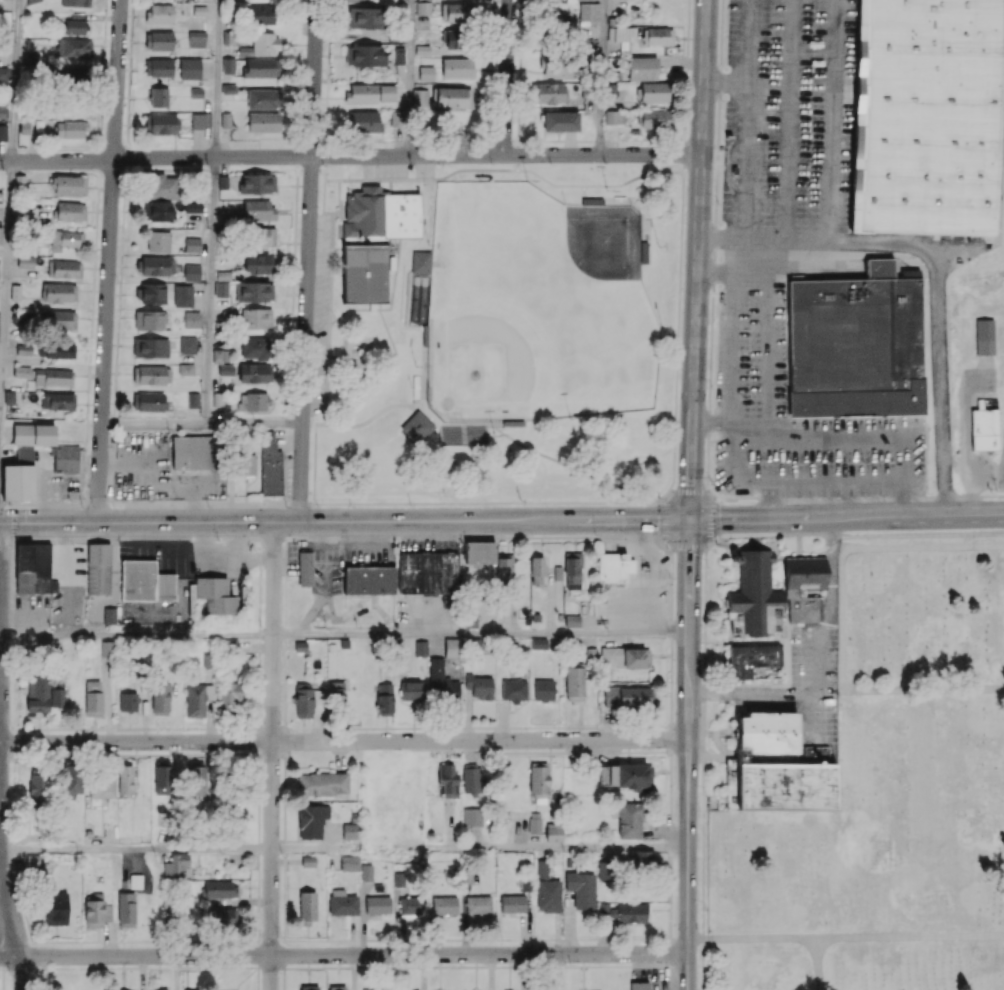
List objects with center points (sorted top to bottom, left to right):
building: (571, 0)
building: (34, 1)
building: (75, 3)
building: (423, 7)
building: (456, 12)
building: (159, 13)
building: (588, 13)
building: (261, 14)
building: (365, 17)
building: (75, 23)
building: (658, 36)
building: (196, 38)
building: (454, 39)
building: (158, 40)
road: (744, 41)
building: (261, 45)
building: (74, 47)
building: (364, 55)
building: (228, 65)
building: (556, 66)
building: (158, 67)
building: (261, 67)
building: (189, 68)
building: (457, 68)
building: (642, 68)
building: (5, 73)
building: (426, 73)
building: (72, 75)
road: (603, 77)
road: (218, 78)
road: (411, 78)
road: (506, 78)
road: (15, 80)
building: (228, 88)
building: (654, 91)
building: (387, 92)
building: (550, 92)
building: (361, 93)
building: (158, 97)
building: (419, 97)
building: (451, 97)
building: (263, 98)
building: (3, 112)
building: (924, 116)
building: (614, 117)
building: (654, 119)
building: (200, 120)
building: (365, 121)
building: (560, 121)
building: (263, 122)
building: (160, 124)
building: (70, 129)
building: (3, 132)
road: (350, 156)
building: (257, 183)
building: (69, 185)
building: (162, 186)
building: (192, 206)
building: (257, 209)
building: (70, 211)
building: (156, 211)
building: (0, 234)
building: (264, 237)
building: (65, 239)
building: (375, 240)
building: (158, 241)
building: (192, 244)
road: (787, 245)
road: (895, 247)
road: (719, 252)
road: (739, 253)
road: (108, 261)
road: (308, 261)
building: (25, 262)
building: (420, 262)
building: (259, 263)
building: (155, 265)
building: (63, 268)
building: (191, 272)
road: (6, 284)
building: (221, 284)
road: (211, 290)
building: (254, 291)
building: (58, 292)
building: (151, 293)
building: (183, 296)
park: (542, 304)
parking lot: (317, 315)
building: (256, 318)
building: (58, 319)
building: (191, 319)
building: (149, 320)
park: (493, 330)
building: (984, 336)
building: (187, 344)
building: (856, 344)
building: (150, 347)
building: (255, 347)
building: (24, 349)
building: (56, 350)
building: (223, 361)
building: (186, 369)
building: (21, 371)
building: (255, 373)
building: (151, 374)
building: (52, 377)
building: (57, 400)
building: (192, 400)
building: (148, 401)
building: (252, 401)
road: (154, 423)
road: (255, 423)
road: (769, 424)
building: (984, 425)
building: (416, 427)
building: (33, 434)
building: (465, 437)
road: (734, 446)
building: (194, 451)
building: (65, 458)
building: (245, 464)
building: (270, 464)
road: (835, 475)
building: (18, 476)
road: (0, 479)
road: (691, 494)
traffic signals: (691, 519)
road: (502, 520)
traffic signals: (0, 524)
road: (272, 537)
road: (471, 537)
road: (135, 538)
road: (7, 539)
road: (662, 541)
road: (688, 546)
building: (479, 554)
building: (614, 567)
building: (305, 568)
building: (504, 568)
building: (35, 569)
building: (98, 569)
building: (572, 570)
building: (537, 571)
building: (427, 572)
road: (0, 579)
building: (368, 580)
building: (145, 582)
building: (803, 587)
road: (11, 592)
building: (215, 595)
building: (754, 597)
road: (704, 604)
road: (824, 608)
building: (109, 616)
road: (843, 617)
road: (259, 620)
building: (572, 620)
road: (285, 631)
road: (481, 634)
road: (136, 635)
road: (671, 635)
building: (538, 643)
building: (460, 646)
building: (108, 648)
building: (420, 648)
building: (624, 657)
road: (9, 658)
building: (751, 659)
building: (208, 661)
road: (704, 674)
building: (441, 683)
building: (574, 683)
building: (479, 686)
building: (513, 690)
building: (543, 690)
building: (412, 691)
building: (38, 692)
building: (57, 692)
road: (747, 693)
building: (337, 694)
building: (627, 697)
building: (93, 698)
building: (160, 698)
building: (228, 698)
building: (384, 699)
building: (128, 701)
building: (308, 702)
road: (259, 710)
road: (805, 715)
road: (258, 721)
road: (271, 726)
road: (285, 726)
road: (531, 726)
road: (633, 726)
road: (664, 726)
road: (5, 727)
road: (253, 727)
road: (386, 727)
road: (437, 727)
road: (87, 728)
road: (173, 728)
road: (203, 728)
road: (238, 728)
road: (292, 728)
road: (324, 728)
road: (671, 737)
road: (286, 739)
road: (258, 740)
road: (344, 741)
road: (427, 748)
road: (458, 749)
road: (557, 751)
road: (625, 751)
road: (651, 751)
road: (493, 752)
road: (227, 753)
road: (251, 753)
road: (160, 754)
road: (270, 754)
road: (61, 755)
road: (271, 755)
road: (259, 764)
building: (779, 767)
road: (284, 771)
building: (625, 775)
building: (163, 778)
building: (196, 778)
building: (125, 779)
building: (448, 779)
building: (72, 780)
building: (472, 781)
building: (539, 782)
building: (322, 783)
building: (101, 785)
road: (259, 788)
building: (37, 789)
building: (228, 790)
road: (284, 795)
park: (885, 797)
road: (670, 808)
building: (472, 816)
building: (627, 819)
building: (312, 820)
building: (535, 822)
building: (350, 831)
building: (554, 831)
road: (701, 837)
road: (479, 848)
road: (135, 850)
road: (10, 857)
building: (642, 859)
building: (34, 861)
building: (349, 862)
building: (175, 865)
road: (258, 870)
building: (604, 871)
road: (284, 872)
building: (366, 872)
road: (669, 875)
building: (219, 889)
building: (582, 889)
building: (547, 890)
road: (19, 893)
building: (342, 903)
building: (512, 903)
building: (478, 904)
building: (378, 905)
building: (411, 905)
building: (444, 905)
building: (307, 907)
building: (56, 908)
building: (126, 909)
building: (96, 910)
road: (670, 911)
building: (623, 912)
building: (222, 917)
road: (6, 921)
road: (28, 927)
road: (666, 937)
road: (844, 937)
road: (551, 938)
road: (635, 938)
road: (292, 939)
road: (317, 939)
road: (342, 939)
road: (395, 939)
road: (450, 939)
road: (478, 939)
road: (105, 940)
road: (130, 940)
road: (201, 940)
road: (254, 940)
road: (66, 941)
road: (671, 952)
road: (258, 953)
road: (34, 954)
road: (283, 954)
road: (344, 954)
road: (817, 964)
road: (1, 966)
road: (369, 966)
road: (388, 966)
road: (412, 966)
road: (470, 966)
road: (533, 966)
road: (613, 966)
road: (43, 967)
road: (52, 967)
road: (113, 967)
road: (202, 967)
road: (247, 967)
road: (295, 967)
road: (331, 967)
road: (1, 968)
road: (40, 969)
road: (257, 978)
road: (671, 978)
road: (2, 979)
road: (40, 980)
road: (283, 980)
building: (639, 985)
building: (309, 987)
building: (337, 987)
building: (190, 988)
building: (159, 989)
building: (371, 989)

